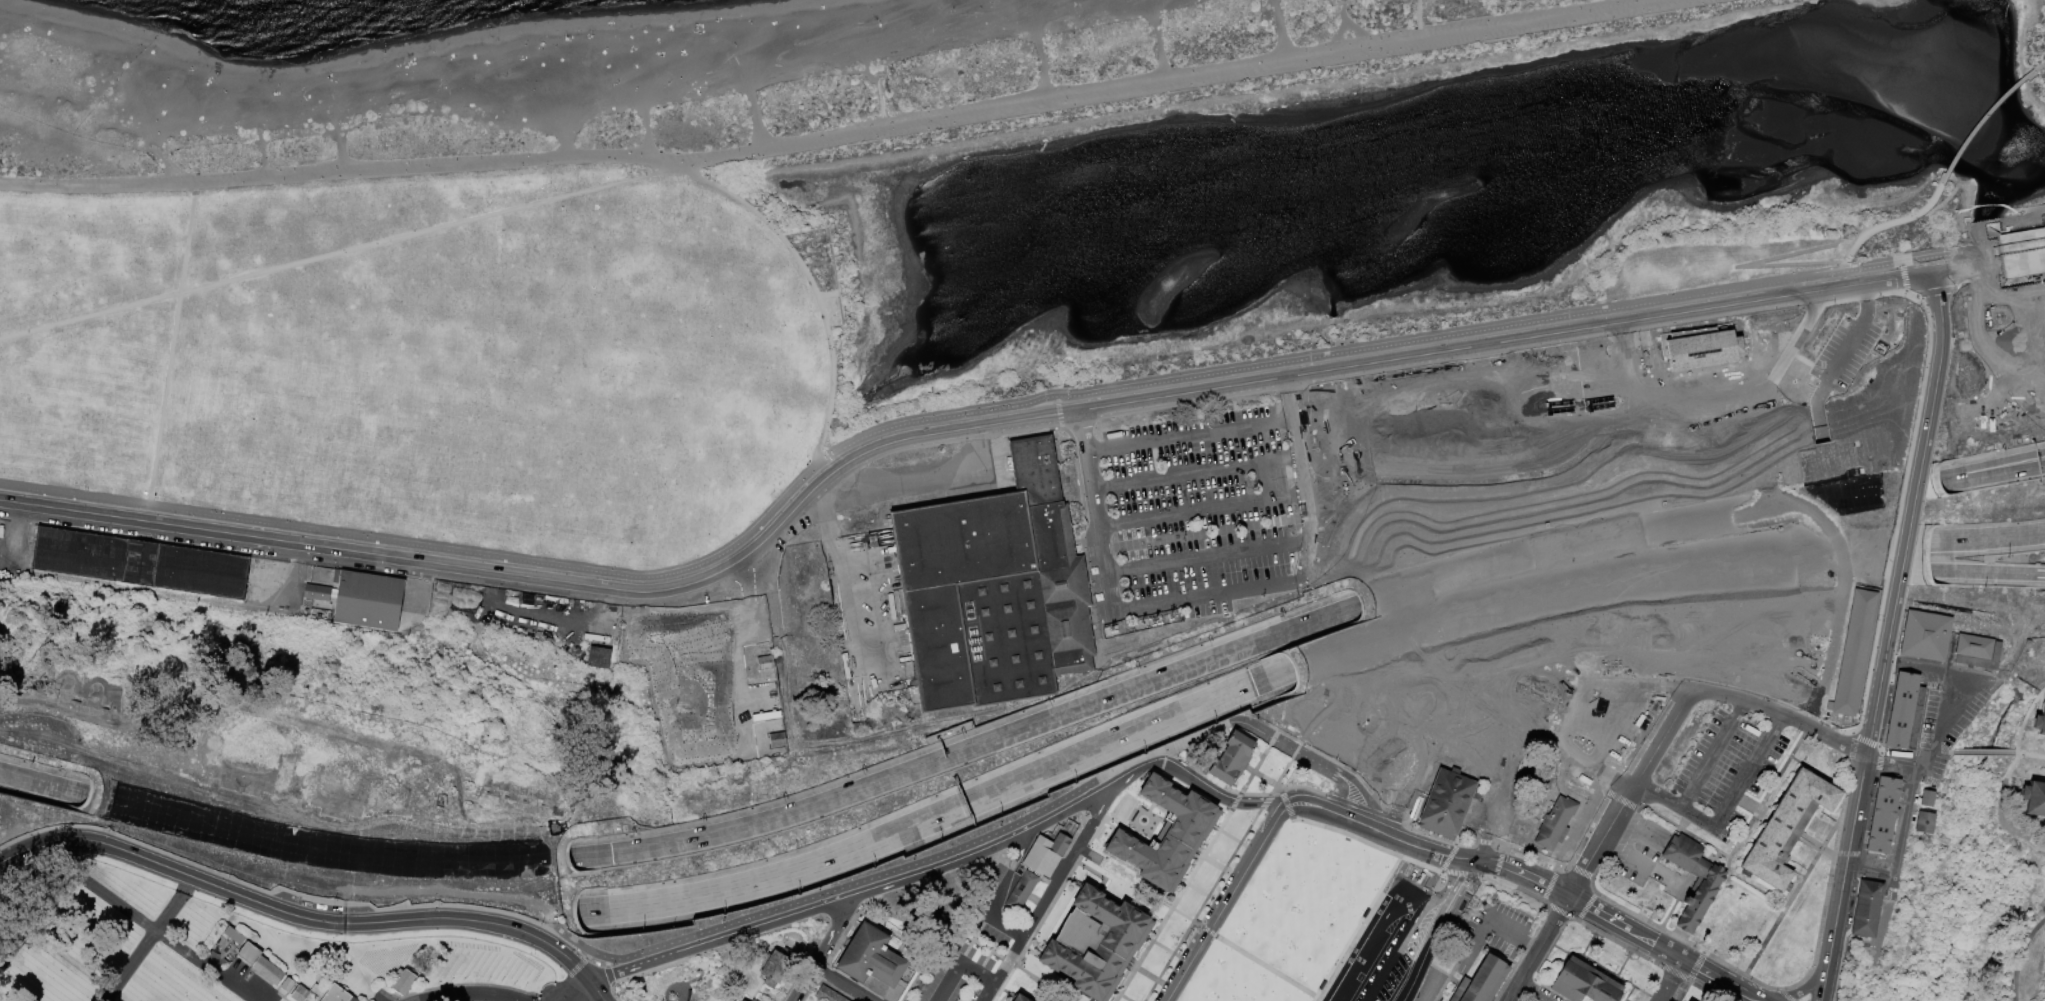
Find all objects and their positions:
road: (1671, 2)
road: (1418, 15)
road: (1343, 28)
road: (1279, 33)
road: (1419, 38)
road: (1161, 51)
road: (2040, 66)
road: (1045, 74)
road: (1092, 98)
road: (879, 102)
road: (1980, 121)
road: (755, 122)
road: (646, 137)
road: (566, 147)
road: (340, 154)
road: (265, 162)
road: (177, 169)
road: (243, 181)
road: (1942, 203)
road: (1887, 225)
road: (2000, 247)
road: (337, 254)
road: (1928, 258)
road: (1957, 261)
road: (2001, 261)
road: (1740, 267)
road: (1871, 268)
road: (1945, 271)
road: (1959, 277)
road: (1844, 280)
road: (1889, 280)
road: (1902, 281)
road: (1956, 288)
road: (814, 289)
road: (827, 294)
road: (1929, 295)
road: (1853, 335)
road: (171, 345)
road: (1462, 349)
building: (1702, 351)
road: (1536, 352)
road: (1890, 396)
building: (1730, 397)
building: (1646, 403)
road: (1274, 422)
road: (900, 426)
road: (1170, 439)
road: (1084, 445)
road: (1298, 450)
road: (2004, 464)
road: (1522, 470)
road: (1077, 472)
road: (2004, 472)
road: (1195, 473)
road: (1950, 478)
road: (1950, 479)
road: (924, 480)
road: (1785, 498)
park: (1031, 506)
road: (1545, 507)
road: (1826, 507)
road: (1897, 508)
road: (1201, 512)
road: (1909, 513)
parking lot: (1201, 515)
road: (1763, 518)
road: (1653, 522)
road: (1096, 527)
road: (17, 531)
road: (1308, 531)
road: (1196, 533)
road: (1998, 537)
road: (1678, 540)
road: (1938, 541)
road: (200, 547)
road: (1243, 550)
road: (1301, 560)
building: (141, 564)
road: (1141, 567)
road: (1386, 569)
road: (1939, 572)
road: (1991, 574)
road: (2037, 576)
road: (1581, 580)
road: (562, 582)
road: (769, 589)
road: (842, 590)
building: (993, 591)
road: (1105, 593)
road: (1203, 596)
building: (363, 600)
road: (1347, 611)
road: (1745, 611)
building: (1926, 636)
building: (1851, 652)
building: (1978, 652)
road: (1440, 653)
road: (1469, 653)
building: (599, 658)
building: (766, 663)
road: (1925, 669)
road: (1428, 674)
road: (1278, 675)
road: (1965, 692)
road: (1509, 695)
road: (1416, 700)
road: (1738, 709)
building: (1905, 713)
road: (1780, 714)
parking lot: (1946, 716)
building: (2039, 722)
road: (1776, 723)
road: (1938, 725)
road: (1661, 739)
road: (1863, 739)
building: (778, 741)
road: (1445, 741)
road: (1799, 743)
road: (1849, 746)
road: (1940, 747)
road: (970, 748)
road: (1365, 749)
road: (1511, 749)
road: (1879, 749)
road: (1881, 750)
road: (1981, 751)
road: (2030, 754)
road: (1163, 755)
road: (1790, 758)
road: (1889, 758)
building: (1233, 759)
road: (1706, 762)
road: (1876, 762)
road: (1258, 763)
parking lot: (1724, 772)
road: (1137, 773)
road: (1280, 773)
road: (1349, 774)
road: (2008, 777)
road: (1743, 780)
road: (29, 781)
road: (1267, 781)
road: (1418, 784)
road: (1301, 786)
road: (1541, 791)
road: (72, 792)
road: (1241, 792)
road: (1250, 794)
road: (1421, 796)
road: (1221, 799)
building: (1927, 799)
building: (2033, 799)
road: (1262, 801)
road: (1085, 802)
road: (1235, 802)
building: (1445, 803)
road: (1285, 805)
road: (1673, 806)
road: (1840, 807)
road: (270, 808)
road: (1361, 808)
road: (1868, 813)
road: (942, 815)
building: (1883, 815)
road: (1346, 817)
road: (1400, 817)
road: (1902, 817)
road: (1387, 823)
road: (1635, 823)
road: (1754, 823)
building: (1925, 823)
building: (1556, 825)
road: (1040, 826)
building: (1787, 829)
road: (1434, 830)
road: (1435, 831)
road: (1416, 832)
road: (1829, 832)
building: (1168, 835)
road: (1236, 841)
road: (1446, 841)
road: (1599, 842)
road: (1366, 844)
road: (1607, 845)
road: (1815, 845)
traffic signals: (611, 852)
road: (1020, 852)
road: (1478, 852)
road: (1846, 854)
road: (582, 855)
building: (1046, 855)
road: (1435, 855)
road: (1446, 857)
road: (1632, 860)
road: (1104, 862)
road: (1845, 862)
road: (1485, 863)
road: (1496, 864)
road: (1868, 867)
road: (1220, 868)
road: (1731, 870)
road: (1459, 874)
road: (1486, 876)
road: (1532, 879)
road: (1668, 880)
road: (1392, 882)
road: (1461, 886)
road: (278, 888)
road: (1517, 888)
road: (999, 891)
building: (1022, 892)
road: (1049, 893)
road: (1204, 895)
road: (1227, 899)
building: (1700, 900)
road: (1200, 904)
road: (1172, 905)
road: (1439, 905)
building: (1866, 909)
road: (591, 912)
road: (808, 913)
road: (1560, 913)
building: (934, 914)
road: (1596, 914)
road: (286, 917)
road: (1883, 919)
road: (1488, 923)
road: (37, 924)
road: (1005, 925)
road: (1356, 926)
road: (1035, 928)
road: (161, 937)
road: (1639, 937)
parking lot: (1386, 938)
road: (682, 939)
road: (147, 940)
road: (1532, 942)
road: (1616, 943)
building: (1097, 944)
road: (1587, 946)
road: (1535, 948)
road: (1760, 948)
road: (822, 949)
road: (1399, 950)
road: (1170, 951)
road: (1522, 951)
road: (1668, 953)
park: (233, 954)
building: (248, 954)
road: (1426, 955)
road: (2020, 956)
road: (588, 957)
road: (1348, 957)
building: (871, 958)
road: (688, 961)
road: (605, 963)
road: (1425, 963)
road: (580, 964)
road: (1261, 964)
road: (1540, 964)
road: (958, 965)
road: (1622, 966)
road: (1693, 966)
building: (777, 967)
road: (1601, 969)
road: (645, 971)
building: (267, 972)
road: (1807, 972)
road: (570, 973)
road: (1671, 973)
road: (582, 976)
road: (607, 976)
road: (1593, 976)
road: (1445, 978)
road: (1714, 978)
road: (1154, 979)
building: (401, 981)
road: (1040, 981)
road: (1672, 981)
building: (1479, 982)
building: (1582, 983)
road: (464, 984)
road: (839, 984)
building: (285, 985)
road: (673, 986)
road: (1523, 986)
road: (1548, 986)
road: (1820, 986)
road: (1806, 987)
road: (551, 988)
road: (807, 990)
road: (576, 992)
road: (594, 992)
building: (330, 993)
road: (612, 993)
building: (299, 994)
road: (1628, 994)
road: (471, 995)
building: (826, 995)
parking lot: (1538, 995)
road: (1539, 996)
road: (1124, 997)
road: (1619, 997)
road: (540, 998)
building: (1016, 998)
building: (1021, 998)
road: (1312, 998)
road: (1323, 998)
road: (1395, 998)
road: (1749, 998)
road: (1779, 999)
building: (753, 1000)

